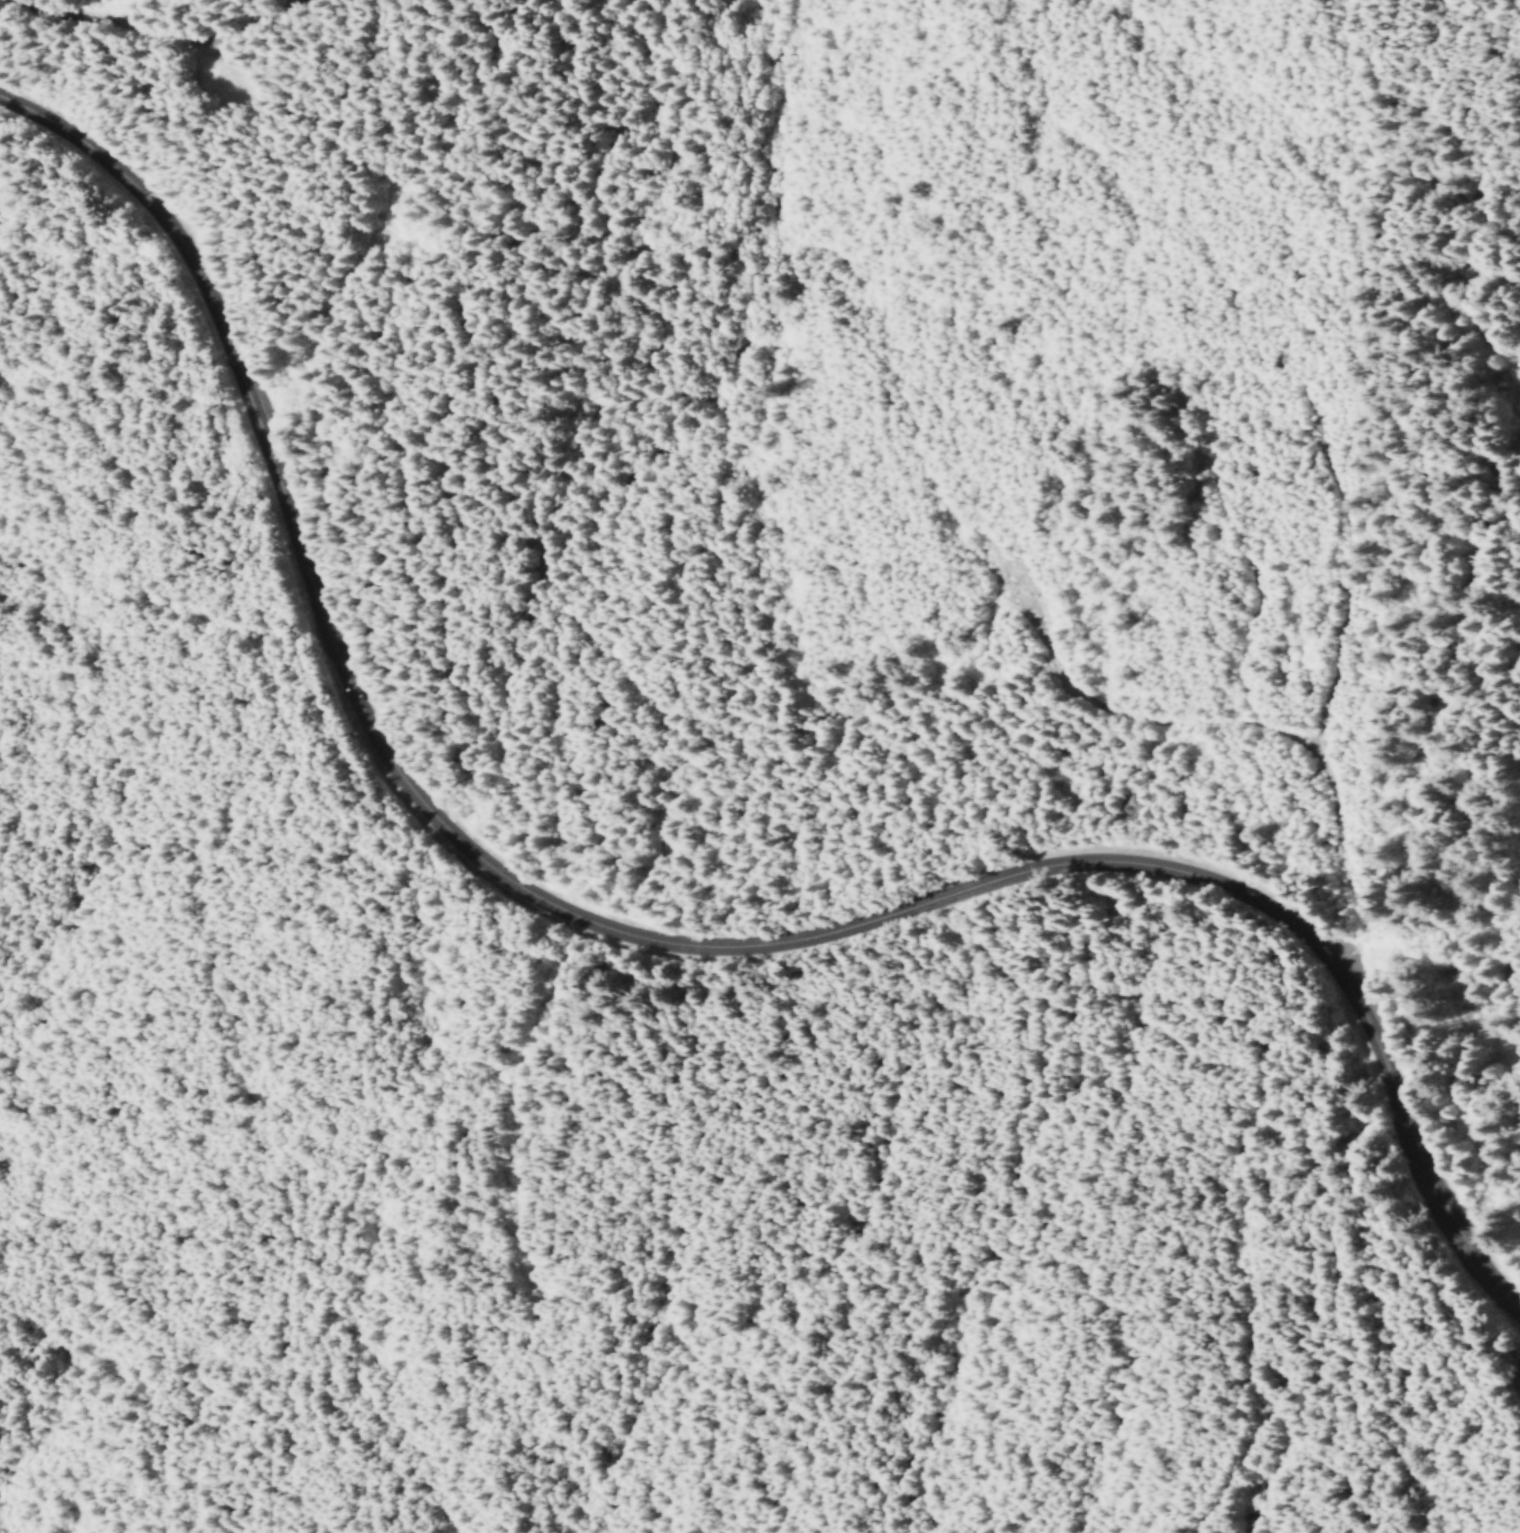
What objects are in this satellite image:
road: (119, 28)
road: (1445, 932)
road: (650, 945)

